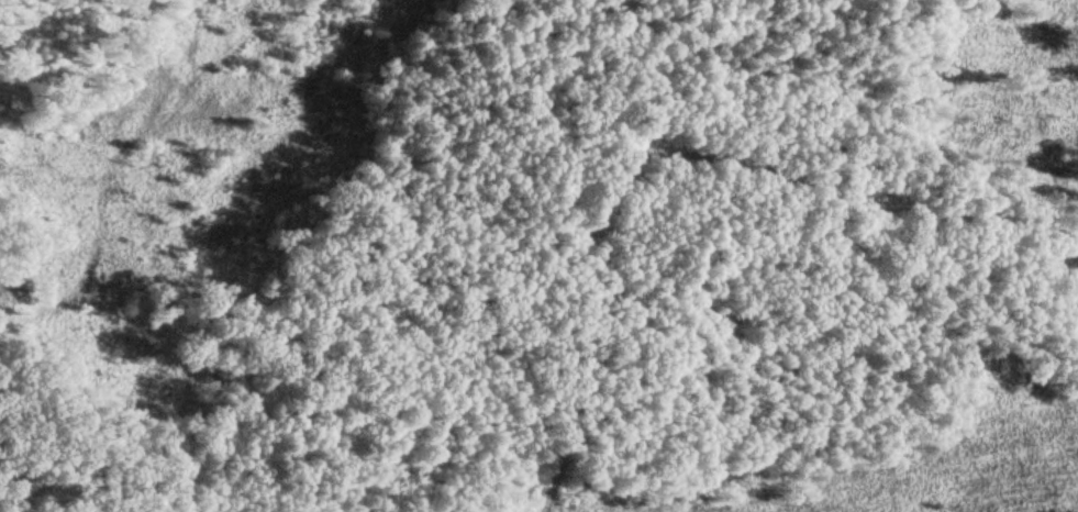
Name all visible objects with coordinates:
road: (866, 196)
road: (608, 318)

